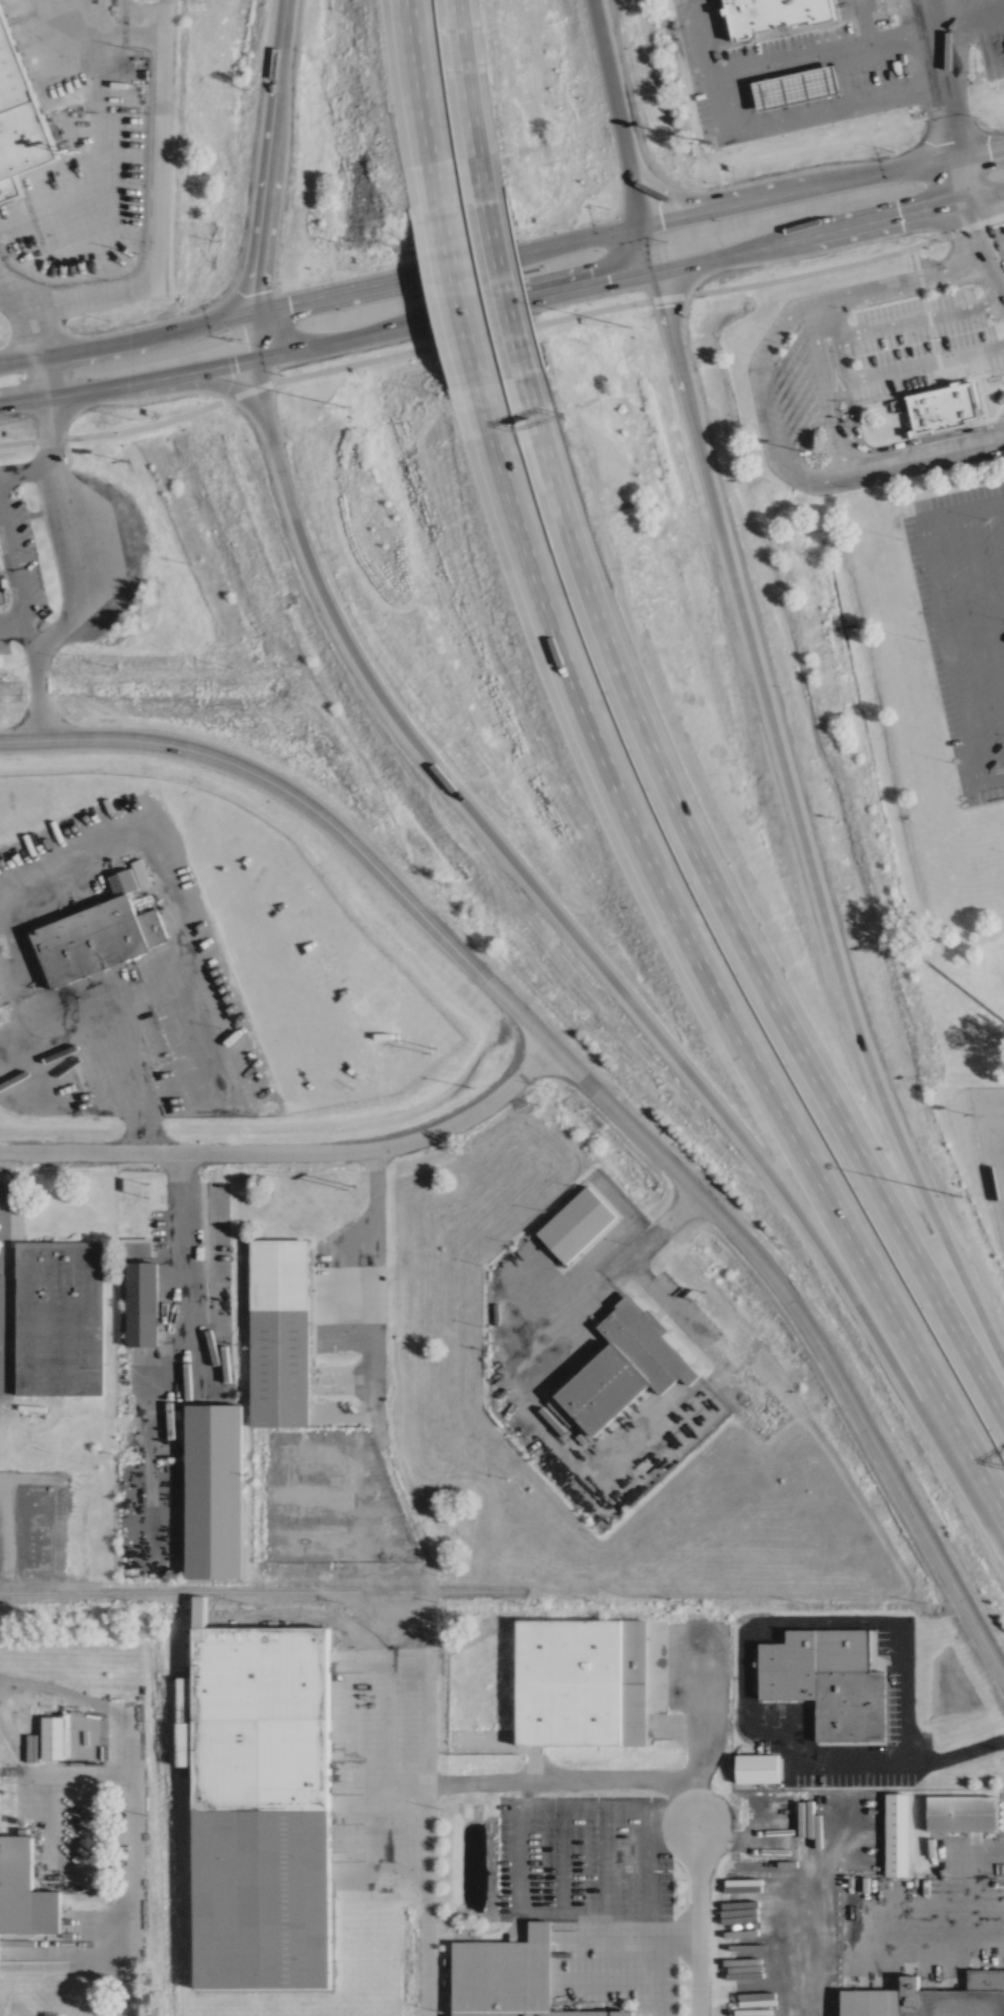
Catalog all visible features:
road: (965, 10)
road: (286, 14)
building: (774, 15)
road: (598, 26)
road: (83, 28)
building: (795, 87)
gas station: (795, 87)
road: (943, 98)
road: (465, 100)
road: (427, 103)
building: (21, 113)
road: (771, 118)
road: (622, 138)
traffic signals: (954, 141)
traffic signals: (993, 149)
road: (981, 151)
road: (274, 169)
road: (887, 173)
road: (986, 192)
traffic signals: (930, 205)
road: (727, 206)
road: (898, 212)
road: (992, 214)
traffic signals: (661, 220)
traffic signals: (996, 222)
road: (547, 247)
road: (647, 248)
road: (741, 249)
road: (976, 251)
traffic signals: (264, 277)
traffic signals: (609, 281)
road: (501, 287)
road: (359, 288)
road: (559, 291)
road: (29, 293)
road: (464, 294)
traffic signals: (325, 296)
traffic signals: (663, 302)
road: (60, 307)
road: (912, 320)
street lamp: (630, 325)
road: (502, 331)
road: (264, 333)
road: (363, 334)
road: (133, 342)
road: (676, 358)
road: (919, 363)
traffic signals: (209, 369)
road: (197, 371)
road: (835, 387)
road: (66, 395)
road: (769, 401)
street lamp: (347, 405)
building: (943, 408)
road: (1003, 506)
building: (0, 566)
road: (15, 577)
road: (983, 604)
road: (938, 609)
parking lot: (964, 622)
road: (41, 677)
road: (990, 779)
road: (825, 913)
road: (725, 914)
road: (569, 930)
road: (193, 938)
building: (91, 939)
road: (706, 957)
road: (118, 1076)
road: (595, 1086)
road: (296, 1151)
street lamp: (959, 1194)
building: (579, 1221)
road: (662, 1227)
road: (180, 1273)
road: (375, 1298)
building: (145, 1303)
building: (58, 1315)
building: (283, 1331)
building: (624, 1365)
road: (523, 1369)
building: (214, 1490)
railway: (262, 1595)
building: (584, 1678)
building: (827, 1678)
road: (2, 1682)
road: (65, 1691)
building: (757, 1766)
road: (897, 1770)
road: (675, 1781)
road: (40, 1787)
building: (261, 1809)
building: (962, 1812)
road: (420, 1832)
building: (896, 1834)
road: (973, 1859)
road: (128, 1862)
building: (23, 1888)
building: (510, 1977)
building: (929, 1997)

